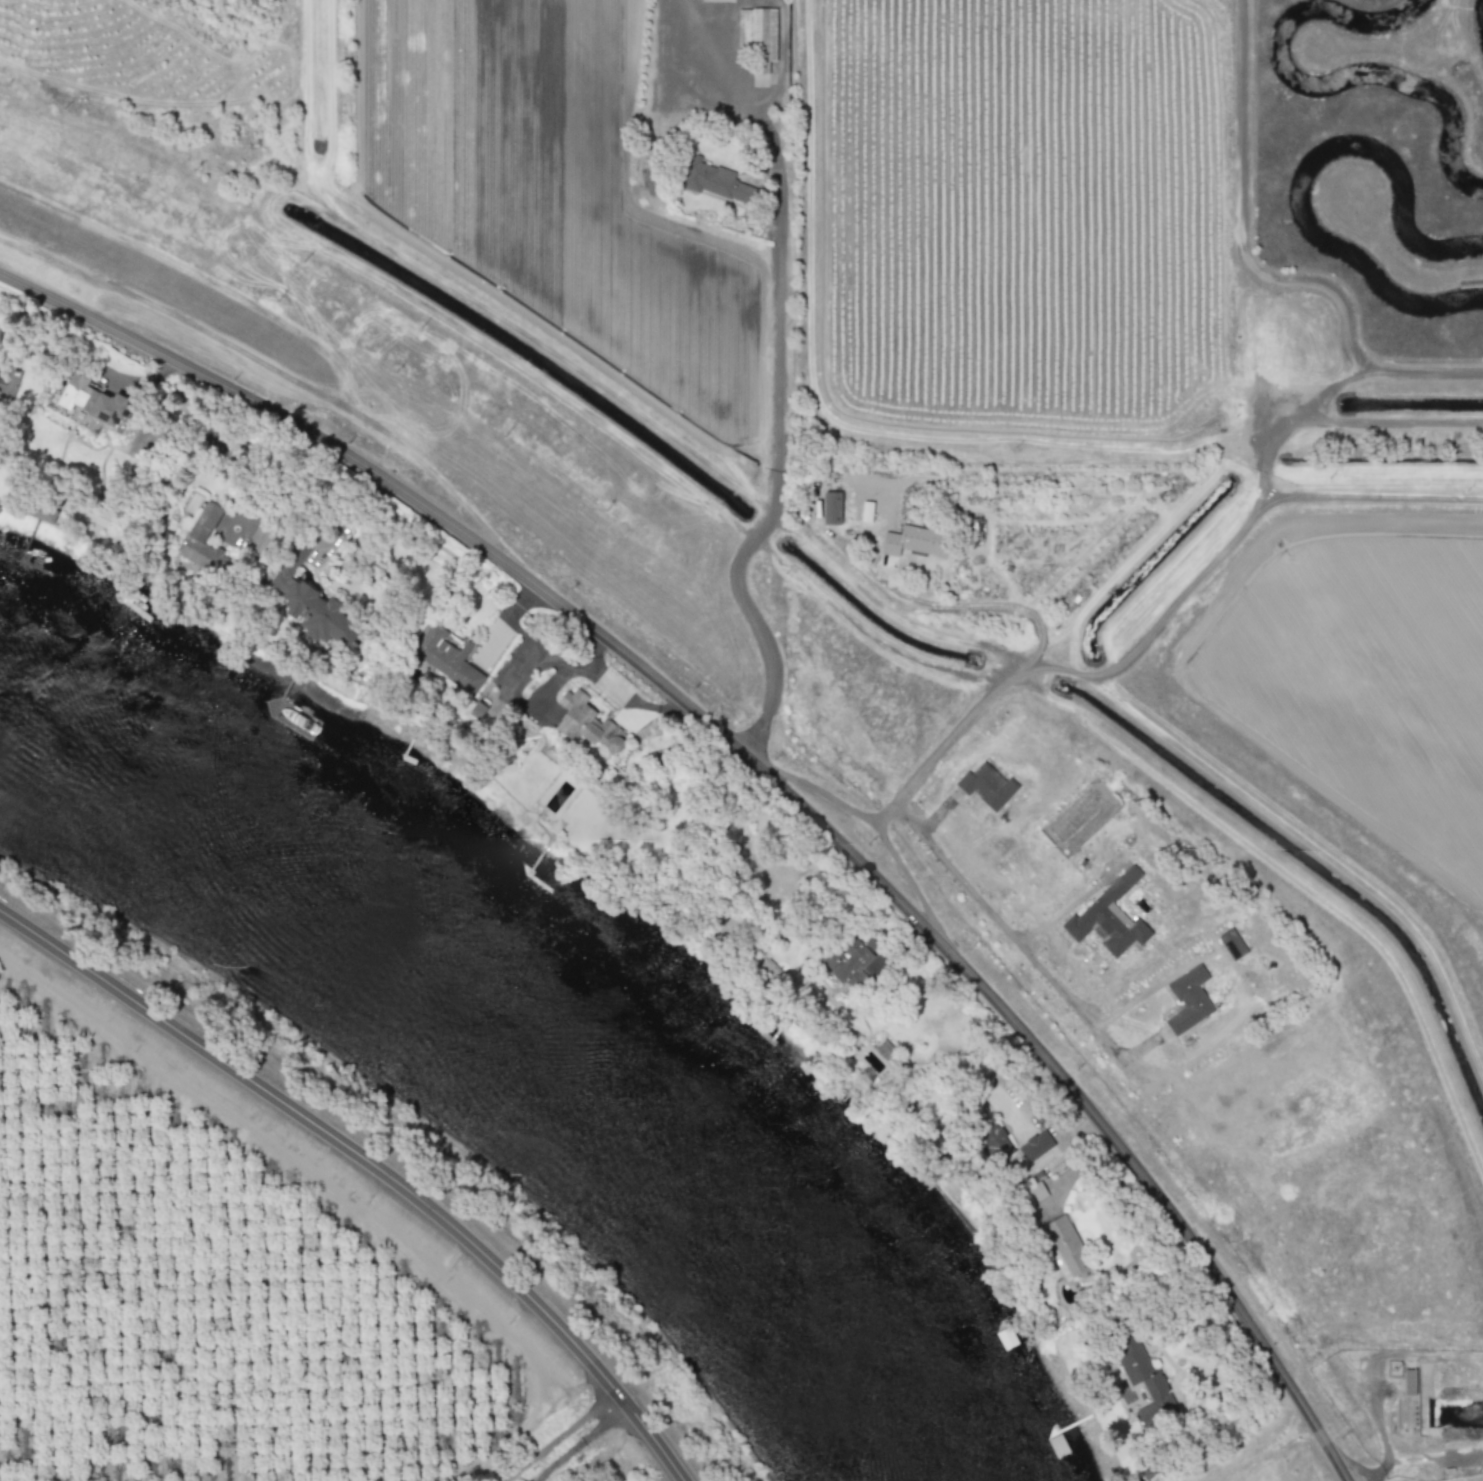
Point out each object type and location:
building: (758, 36)
road: (725, 86)
building: (715, 180)
building: (91, 399)
road: (776, 472)
building: (831, 507)
building: (44, 512)
road: (346, 517)
building: (258, 540)
building: (204, 542)
building: (912, 542)
road: (864, 571)
building: (311, 601)
road: (994, 604)
road: (541, 651)
road: (632, 700)
building: (477, 708)
building: (587, 722)
road: (766, 774)
building: (987, 784)
road: (905, 787)
building: (1107, 916)
road: (1007, 930)
building: (1232, 944)
building: (850, 960)
building: (1188, 999)
river: (523, 1030)
building: (884, 1049)
road: (323, 1133)
building: (993, 1143)
building: (1035, 1145)
building: (1035, 1191)
crop: (228, 1273)
road: (1190, 1374)
building: (1144, 1381)
building: (1409, 1382)
road: (1381, 1432)
road: (560, 1437)
road: (646, 1437)
road: (579, 1442)
road: (1353, 1466)

